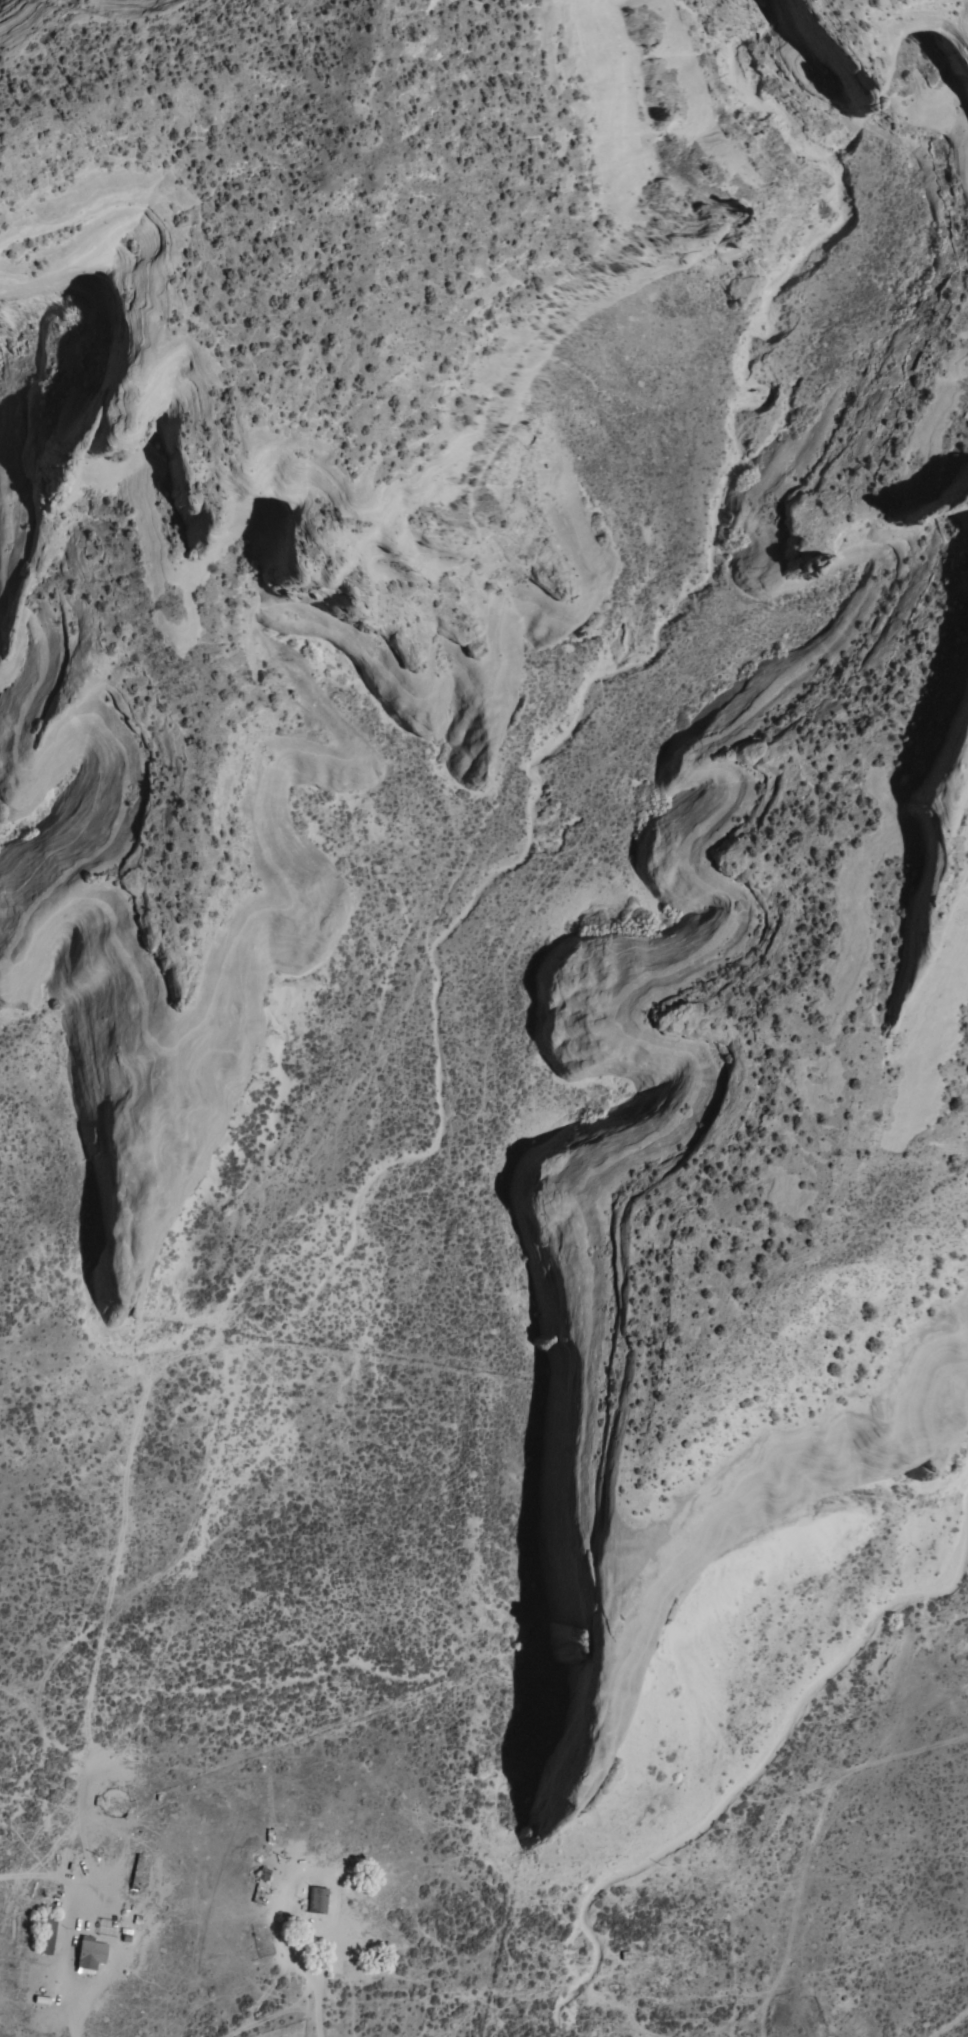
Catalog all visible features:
building: (318, 1900)
building: (47, 1934)
building: (93, 1955)

